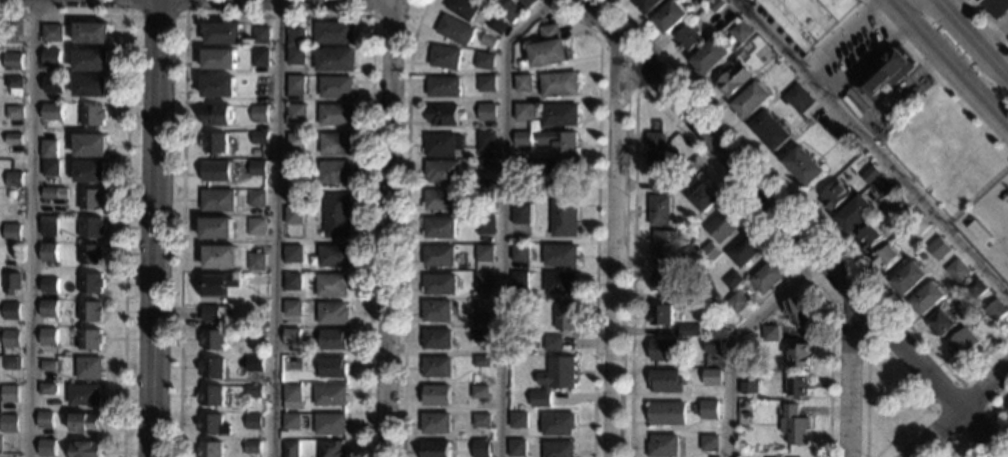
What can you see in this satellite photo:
building: (480, 0)
building: (705, 2)
building: (527, 3)
road: (895, 4)
road: (903, 4)
building: (648, 5)
building: (715, 6)
building: (998, 7)
building: (463, 8)
building: (510, 12)
road: (155, 15)
road: (277, 15)
road: (394, 16)
building: (669, 17)
building: (810, 18)
road: (989, 20)
building: (496, 26)
building: (14, 27)
road: (972, 30)
building: (455, 31)
building: (51, 32)
building: (90, 33)
building: (741, 33)
building: (222, 34)
building: (334, 34)
building: (260, 36)
building: (296, 39)
building: (687, 39)
building: (487, 41)
building: (548, 48)
building: (296, 56)
building: (259, 57)
building: (51, 58)
building: (444, 58)
building: (709, 58)
building: (91, 59)
building: (219, 59)
building: (334, 60)
building: (482, 60)
building: (13, 61)
road: (1004, 64)
building: (779, 66)
road: (953, 67)
building: (887, 71)
road: (934, 79)
building: (733, 80)
road: (630, 83)
building: (522, 84)
building: (53, 85)
building: (91, 85)
building: (485, 85)
building: (557, 85)
building: (15, 86)
building: (335, 87)
building: (220, 88)
building: (294, 88)
building: (442, 88)
building: (798, 100)
building: (751, 102)
building: (14, 112)
building: (52, 112)
building: (486, 112)
building: (297, 113)
building: (523, 113)
building: (259, 114)
building: (93, 115)
building: (335, 115)
building: (442, 115)
road: (663, 115)
building: (217, 116)
building: (558, 116)
building: (770, 132)
building: (259, 138)
building: (13, 139)
building: (521, 139)
building: (296, 141)
building: (484, 142)
building: (558, 142)
building: (215, 144)
building: (336, 144)
building: (90, 145)
building: (442, 145)
road: (873, 148)
building: (49, 149)
building: (655, 155)
building: (485, 166)
building: (803, 167)
building: (50, 168)
building: (519, 168)
building: (257, 169)
building: (90, 171)
building: (561, 171)
road: (125, 172)
building: (217, 172)
building: (442, 172)
building: (336, 173)
building: (870, 175)
building: (685, 178)
building: (15, 179)
building: (658, 187)
building: (881, 187)
building: (50, 192)
building: (12, 195)
building: (484, 197)
building: (834, 197)
building: (91, 198)
building: (257, 199)
building: (703, 199)
building: (440, 200)
building: (218, 201)
building: (900, 206)
building: (658, 211)
road: (806, 214)
building: (519, 215)
building: (562, 215)
building: (855, 215)
building: (294, 216)
building: (337, 216)
road: (501, 220)
road: (595, 221)
building: (49, 225)
building: (484, 226)
building: (919, 226)
building: (91, 227)
building: (257, 227)
road: (405, 227)
building: (721, 227)
road: (29, 228)
road: (153, 228)
road: (274, 228)
road: (389, 228)
building: (12, 229)
building: (218, 229)
building: (439, 229)
road: (789, 230)
building: (870, 239)
building: (662, 246)
building: (939, 248)
building: (50, 252)
building: (743, 252)
road: (618, 253)
building: (91, 254)
building: (293, 254)
building: (484, 254)
building: (519, 254)
building: (710, 255)
building: (221, 257)
building: (331, 257)
building: (439, 257)
building: (559, 257)
building: (691, 258)
building: (887, 259)
building: (255, 262)
building: (957, 271)
building: (766, 278)
building: (910, 279)
building: (482, 280)
building: (665, 280)
building: (517, 281)
building: (731, 281)
building: (91, 282)
building: (12, 283)
building: (291, 283)
building: (220, 284)
building: (559, 284)
building: (703, 284)
building: (49, 285)
building: (332, 285)
building: (439, 285)
building: (976, 289)
building: (693, 296)
building: (929, 299)
building: (472, 302)
building: (737, 304)
building: (48, 308)
building: (293, 308)
building: (12, 311)
building: (91, 311)
building: (996, 311)
building: (437, 312)
building: (798, 312)
building: (211, 313)
building: (333, 313)
building: (660, 316)
road: (850, 317)
building: (565, 319)
building: (481, 321)
building: (943, 324)
building: (689, 331)
building: (770, 332)
building: (48, 336)
building: (290, 336)
building: (480, 337)
building: (11, 338)
building: (90, 339)
building: (333, 339)
building: (437, 340)
road: (734, 340)
building: (213, 341)
building: (963, 343)
building: (552, 344)
building: (713, 346)
building: (662, 350)
road: (867, 350)
building: (801, 356)
building: (480, 362)
building: (12, 363)
building: (292, 363)
building: (255, 364)
building: (48, 365)
building: (747, 367)
building: (89, 368)
building: (212, 368)
building: (333, 368)
building: (437, 368)
road: (850, 376)
building: (712, 378)
road: (957, 379)
building: (552, 381)
building: (665, 382)
building: (798, 386)
building: (47, 388)
building: (749, 390)
building: (254, 391)
building: (10, 392)
building: (479, 392)
building: (83, 394)
building: (211, 396)
building: (330, 396)
building: (435, 396)
building: (292, 397)
park: (889, 404)
building: (1007, 409)
building: (710, 411)
building: (667, 414)
road: (961, 415)
road: (991, 415)
building: (44, 419)
building: (517, 420)
building: (480, 421)
building: (86, 422)
building: (254, 422)
building: (292, 422)
building: (9, 423)
building: (330, 424)
building: (436, 424)
building: (214, 425)
building: (556, 425)
building: (795, 426)
road: (902, 431)
road: (963, 440)
building: (709, 444)
building: (663, 446)
building: (46, 447)
building: (253, 448)
building: (480, 448)
building: (515, 448)
building: (86, 449)
building: (291, 449)
building: (333, 449)
building: (435, 449)
building: (210, 450)
building: (557, 450)

